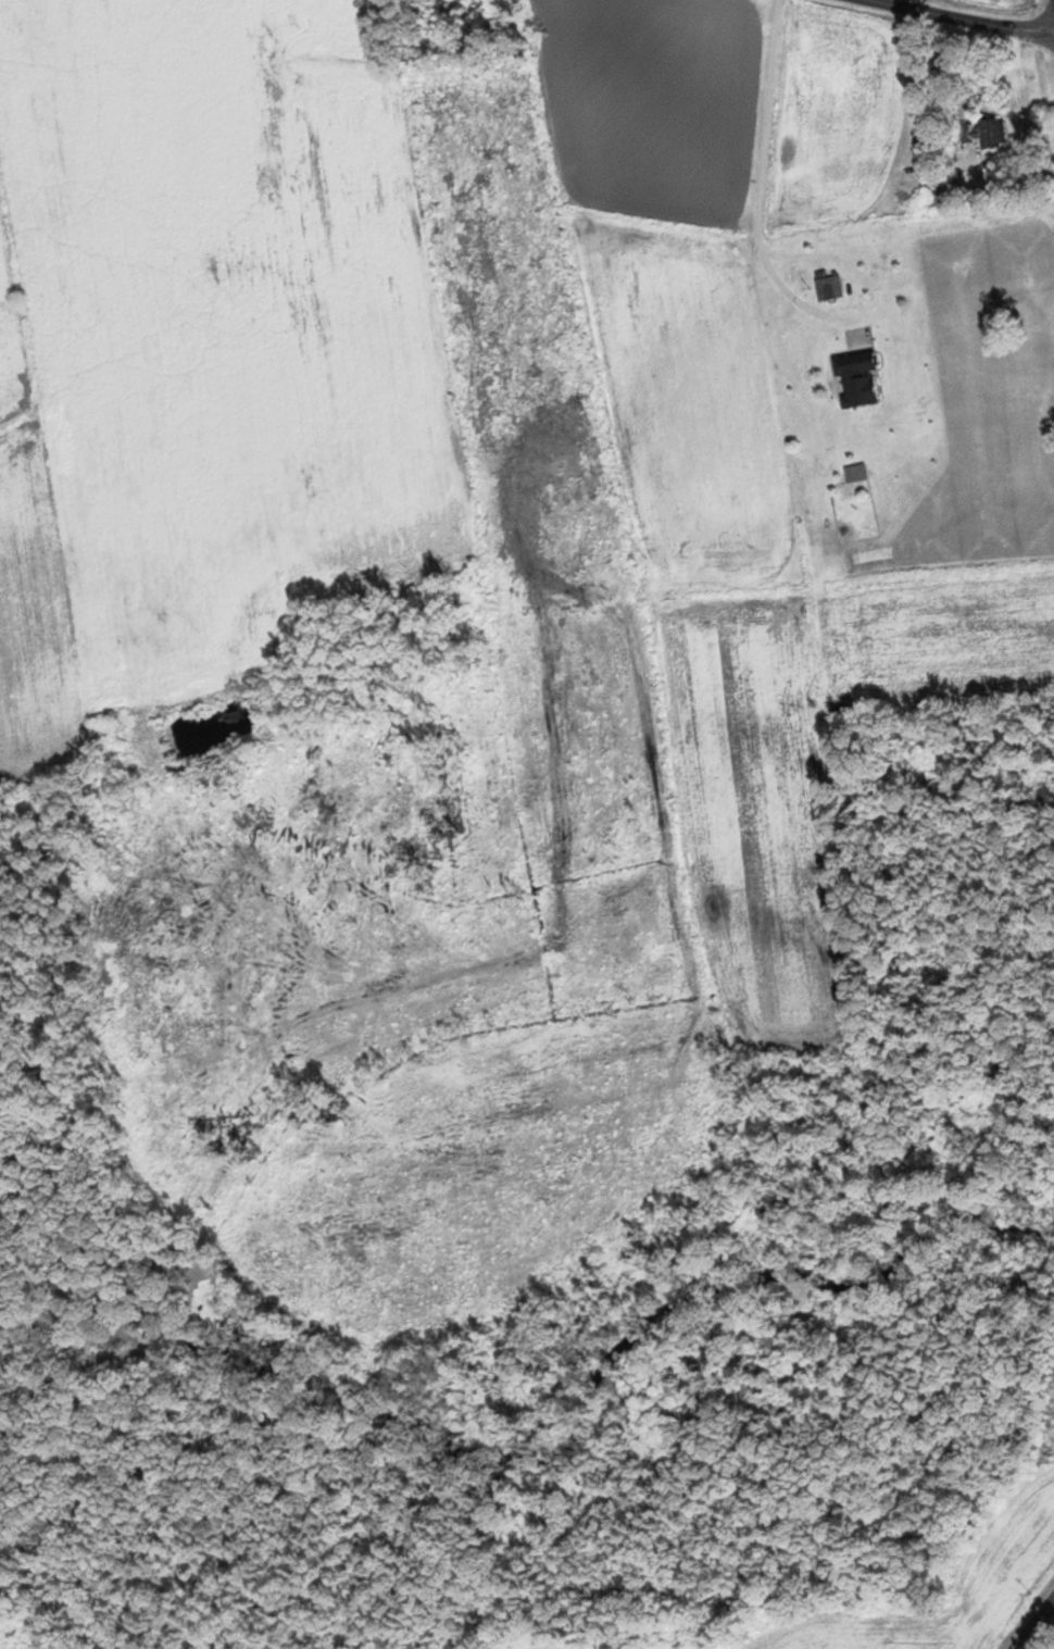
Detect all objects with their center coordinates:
road: (965, 17)
building: (1018, 76)
building: (983, 132)
road: (1034, 1624)

